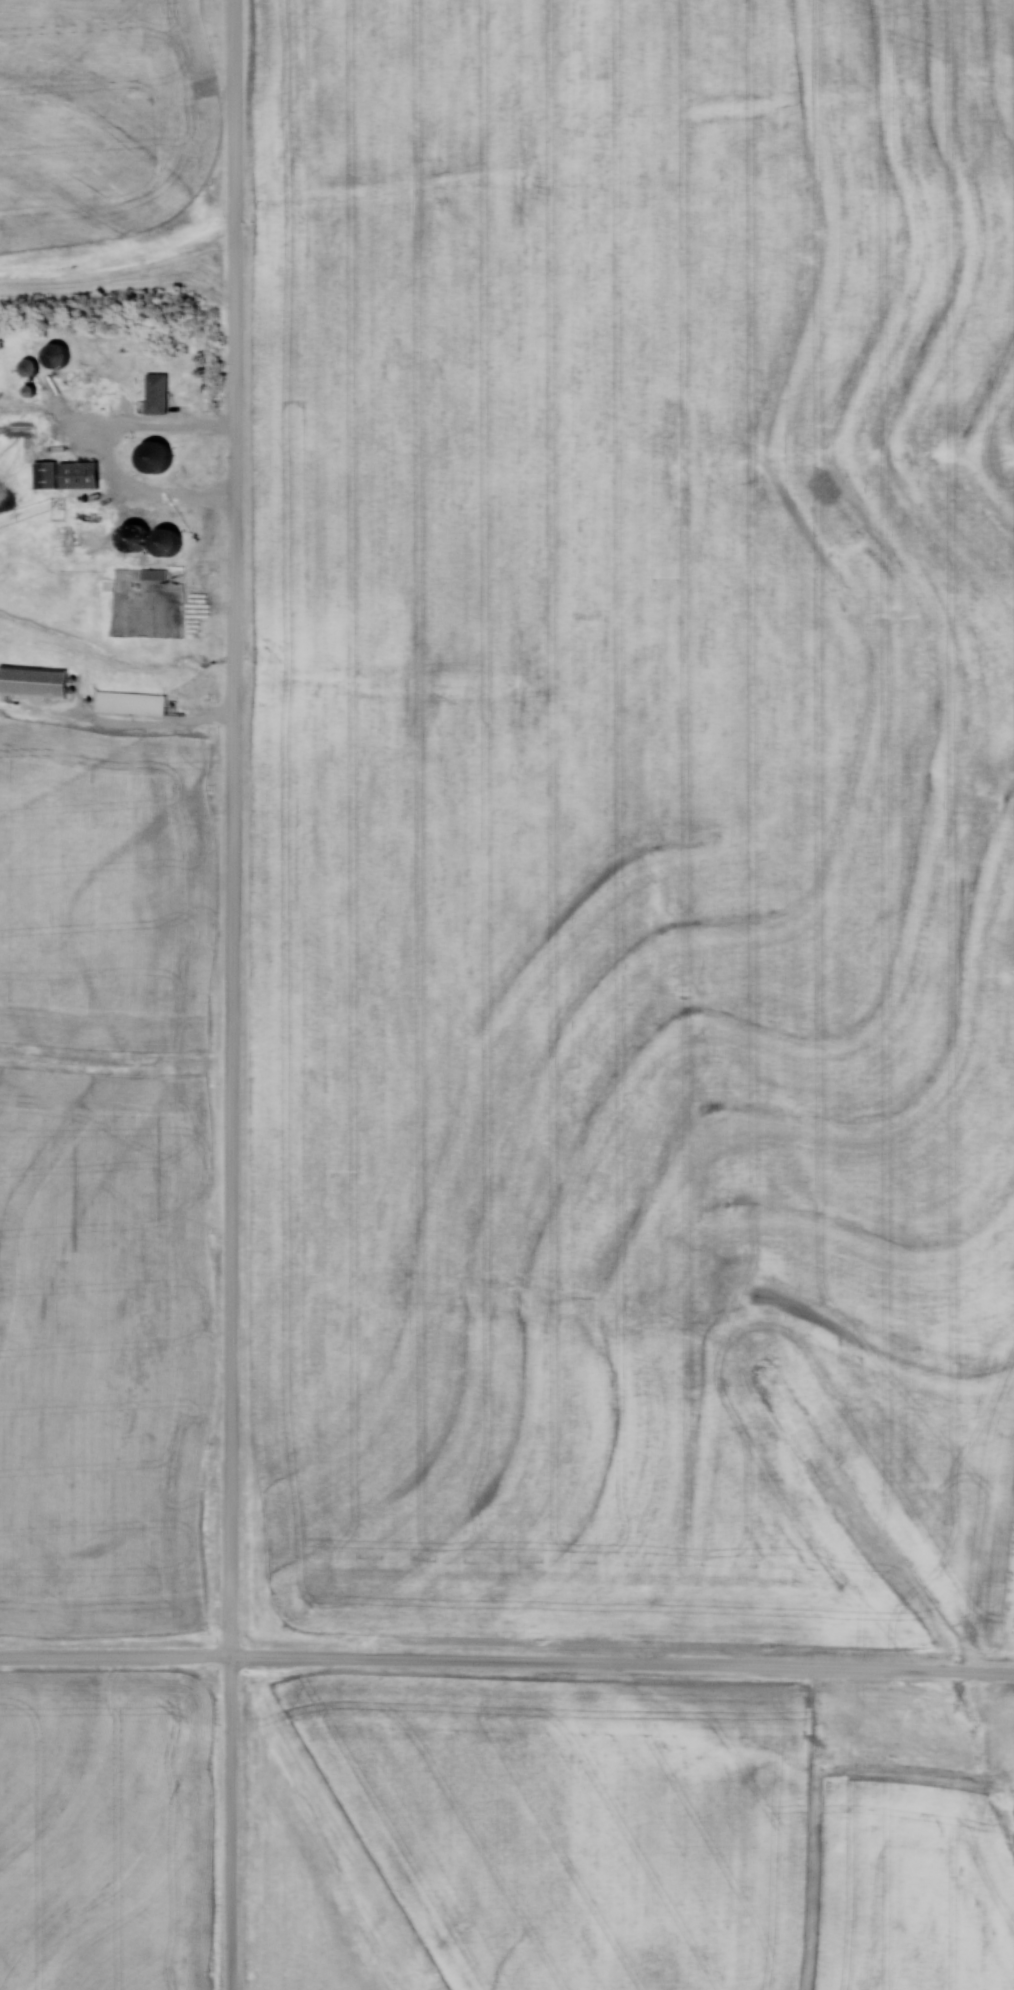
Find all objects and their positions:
building: (65, 355)
building: (109, 389)
building: (160, 393)
road: (108, 455)
building: (161, 455)
building: (84, 474)
building: (51, 475)
building: (138, 524)
building: (174, 541)
building: (156, 574)
building: (36, 681)
building: (132, 703)
road: (238, 995)
road: (507, 1659)

